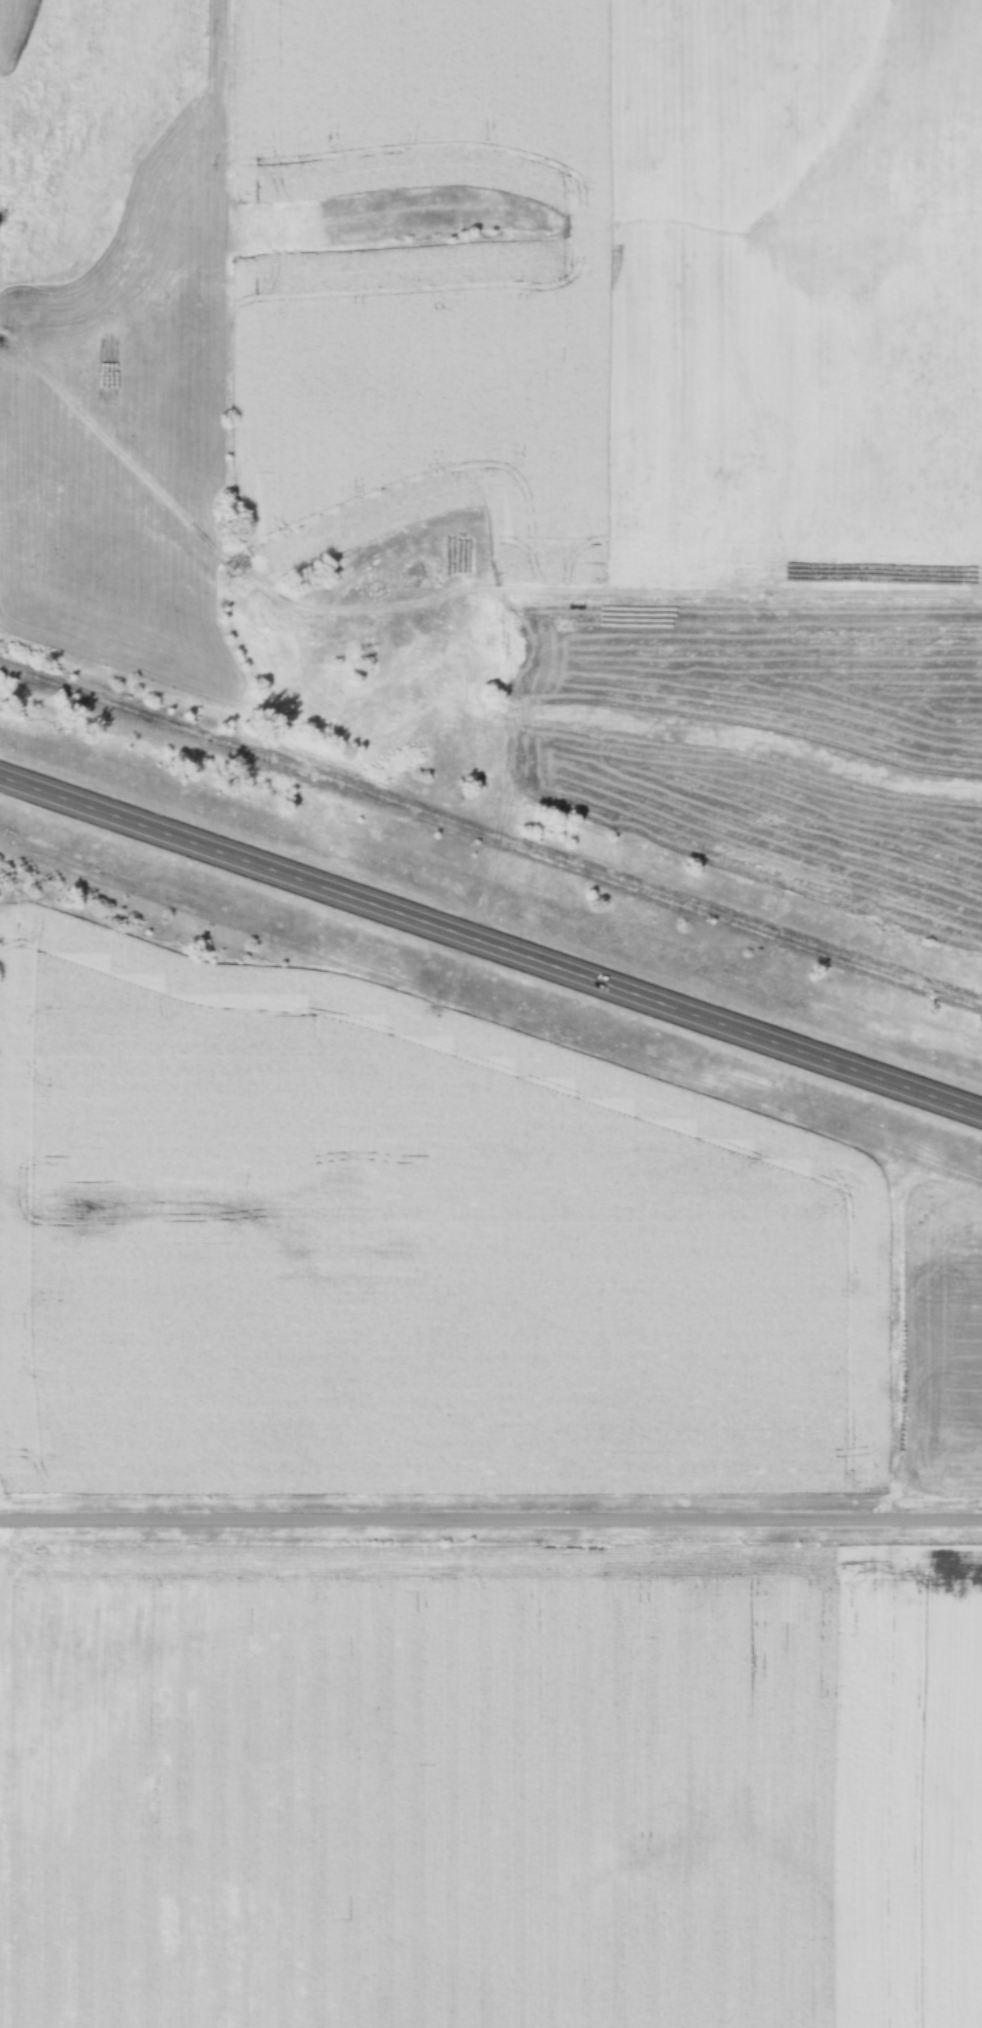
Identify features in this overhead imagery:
road: (505, 767)
railway: (490, 834)
road: (490, 945)
road: (491, 1519)

